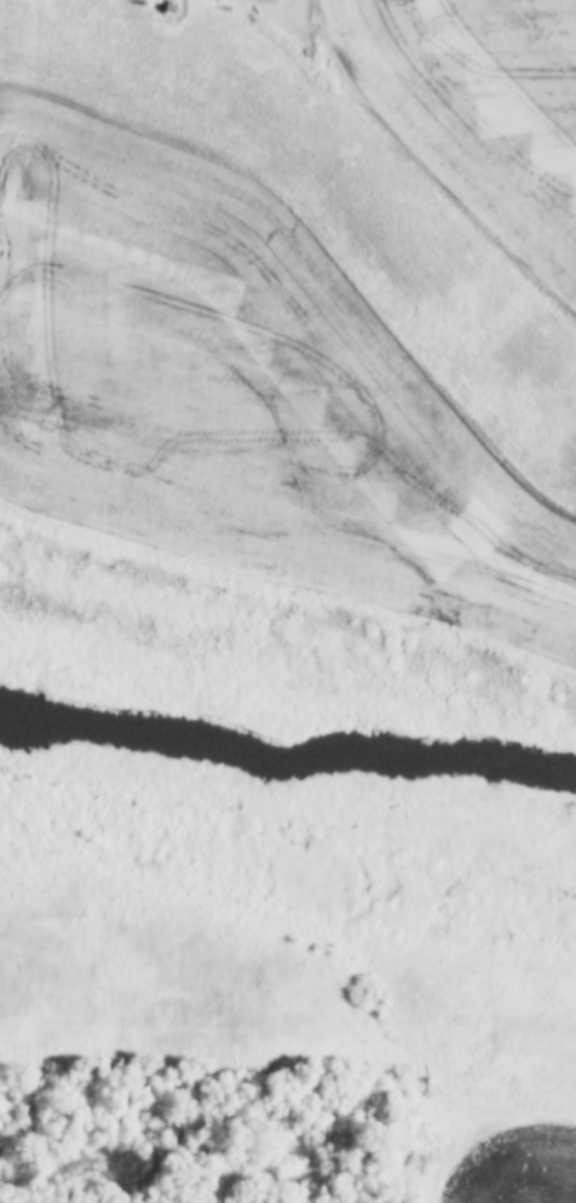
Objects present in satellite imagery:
river: (287, 762)

